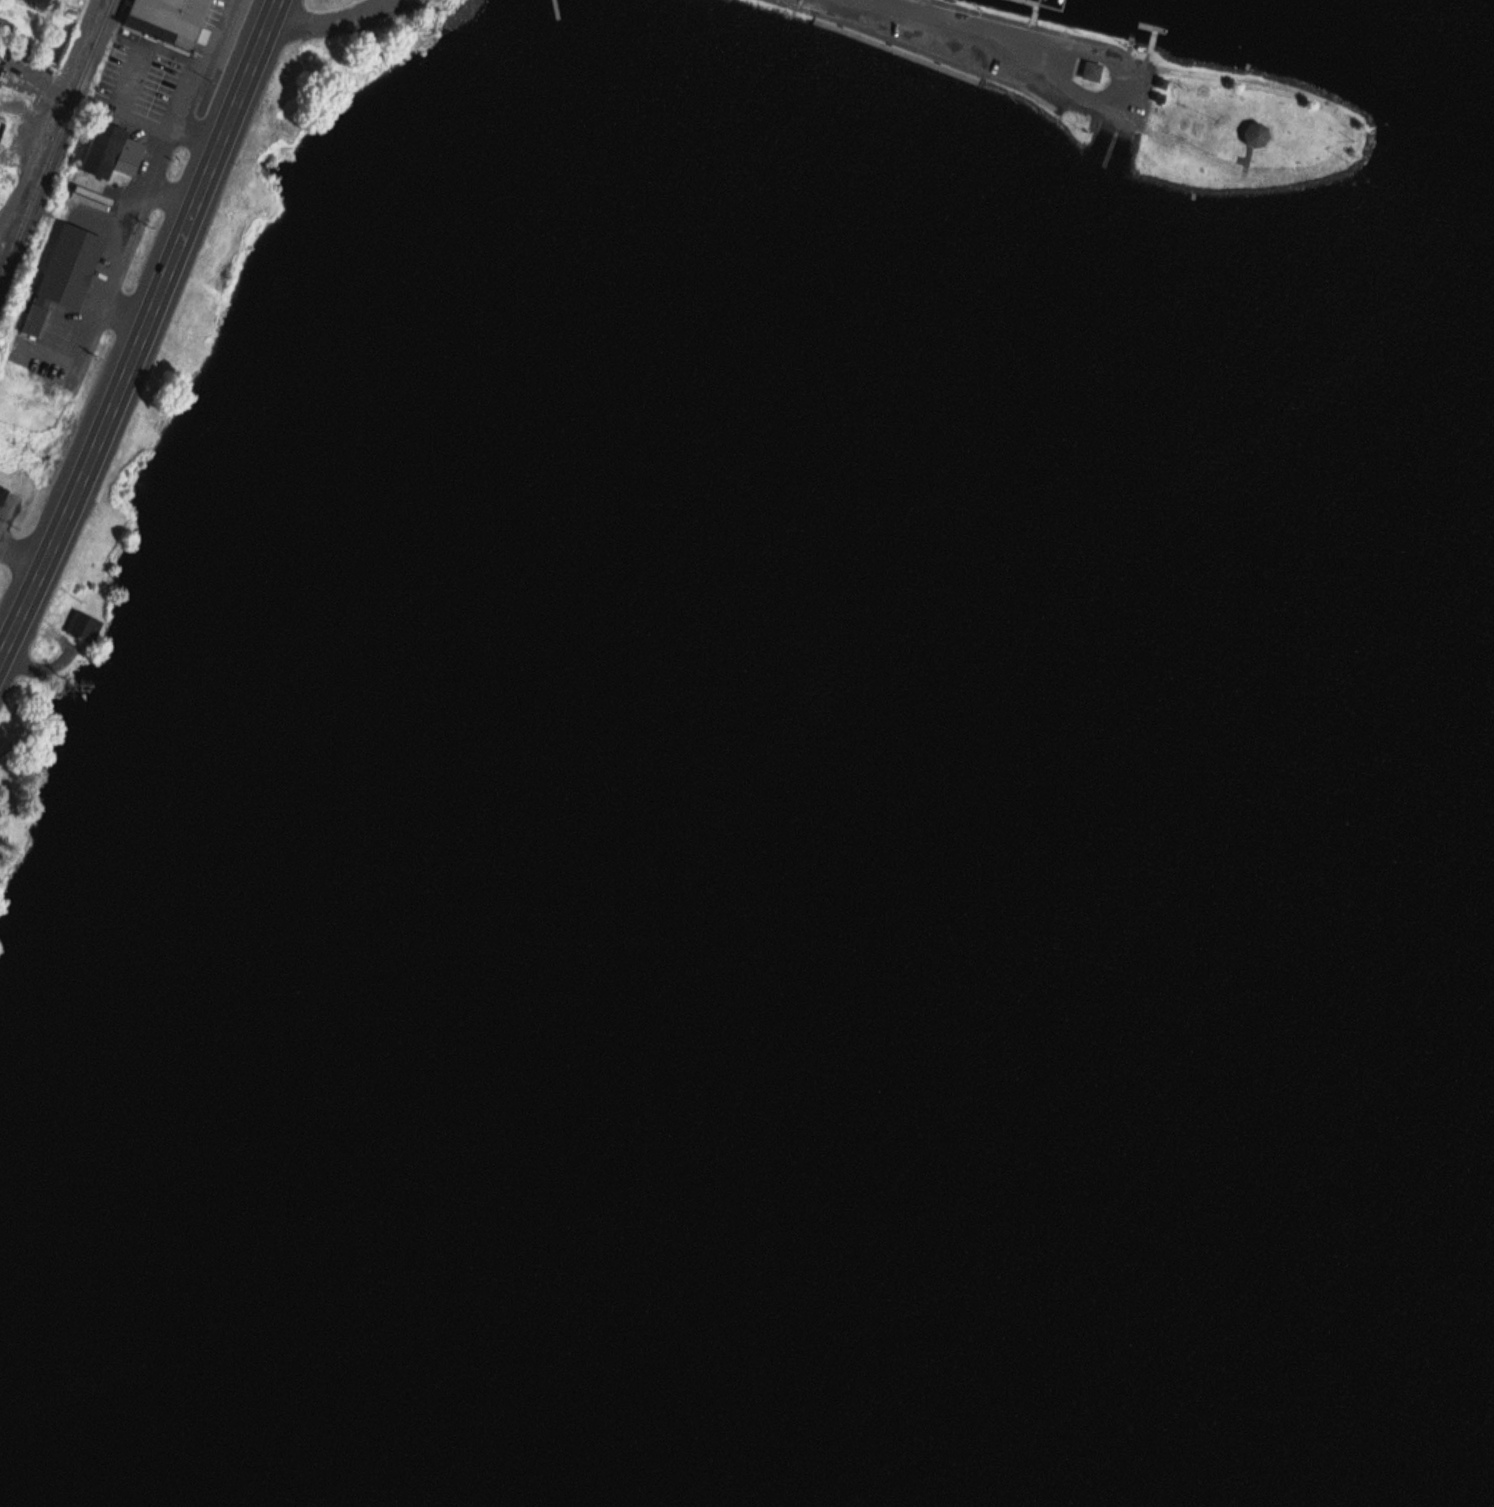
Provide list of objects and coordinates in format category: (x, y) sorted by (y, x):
building: (171, 20)
building: (7, 24)
road: (988, 50)
building: (1, 69)
building: (1094, 72)
road: (53, 116)
building: (1258, 136)
railway: (56, 140)
building: (104, 146)
building: (132, 156)
building: (65, 274)
road: (146, 333)
building: (3, 494)
road: (24, 551)
building: (85, 624)

